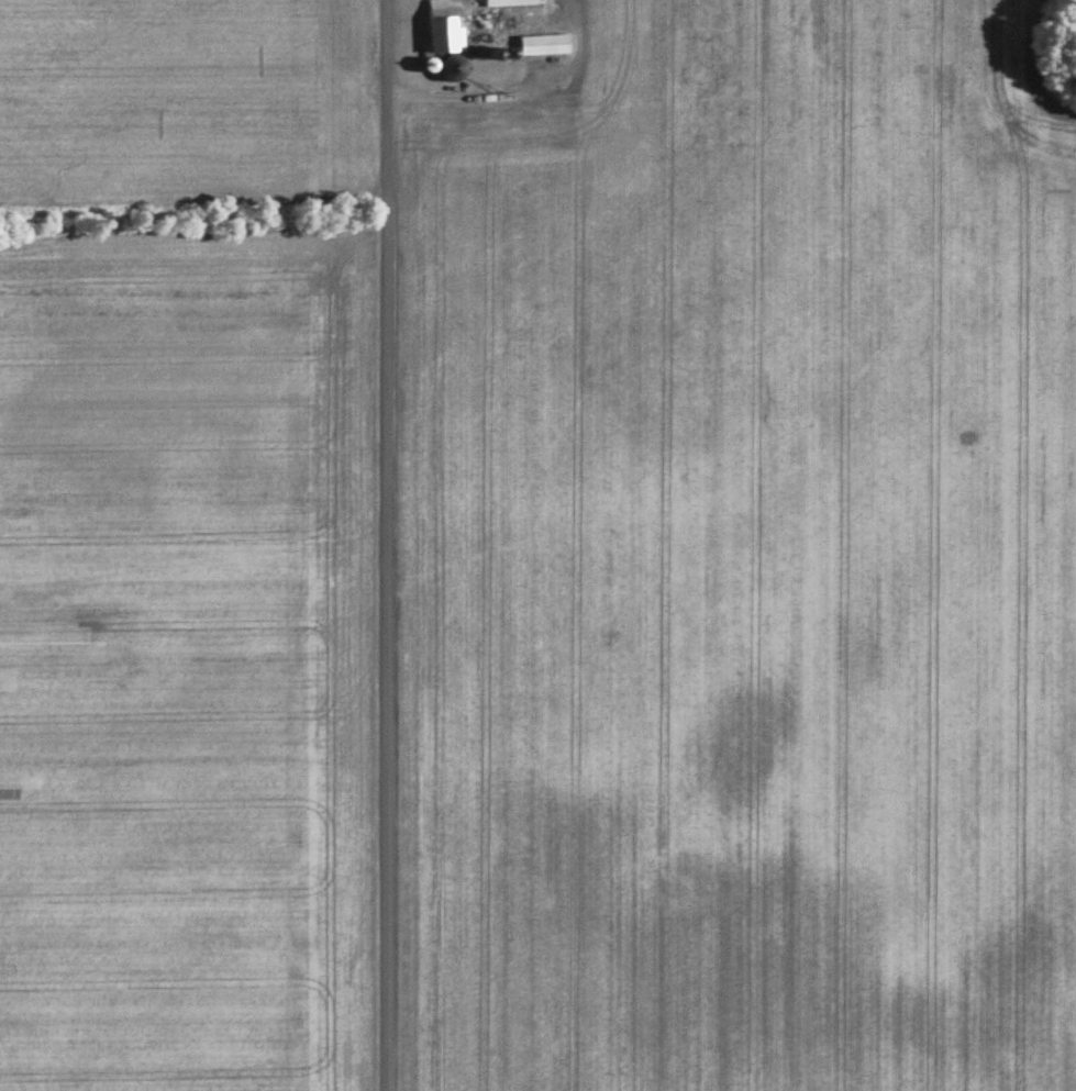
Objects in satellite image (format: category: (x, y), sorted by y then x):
building: (512, 2)
building: (445, 29)
building: (544, 44)
road: (396, 545)

